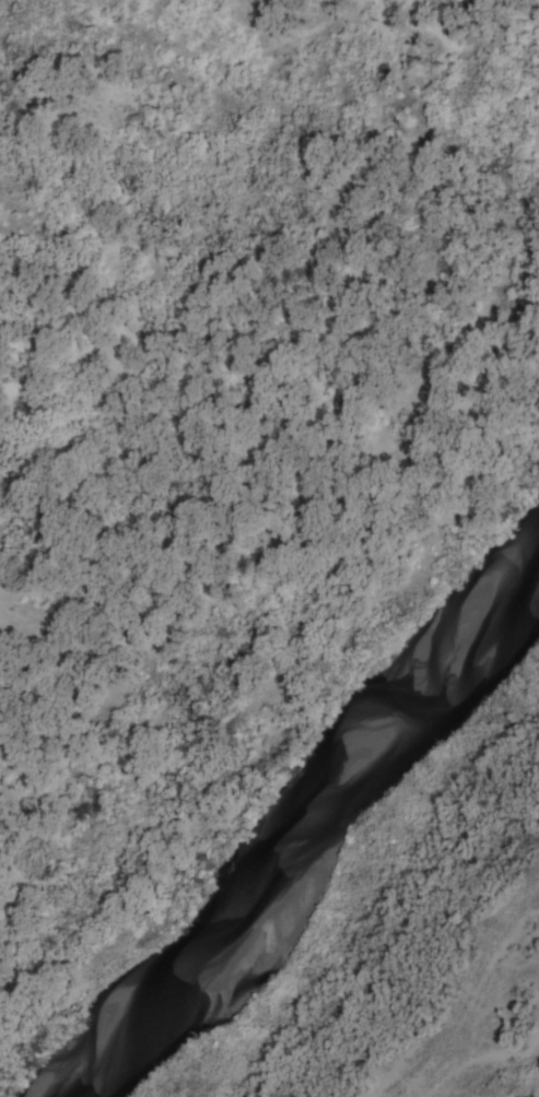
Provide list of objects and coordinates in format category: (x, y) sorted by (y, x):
river: (398, 956)

